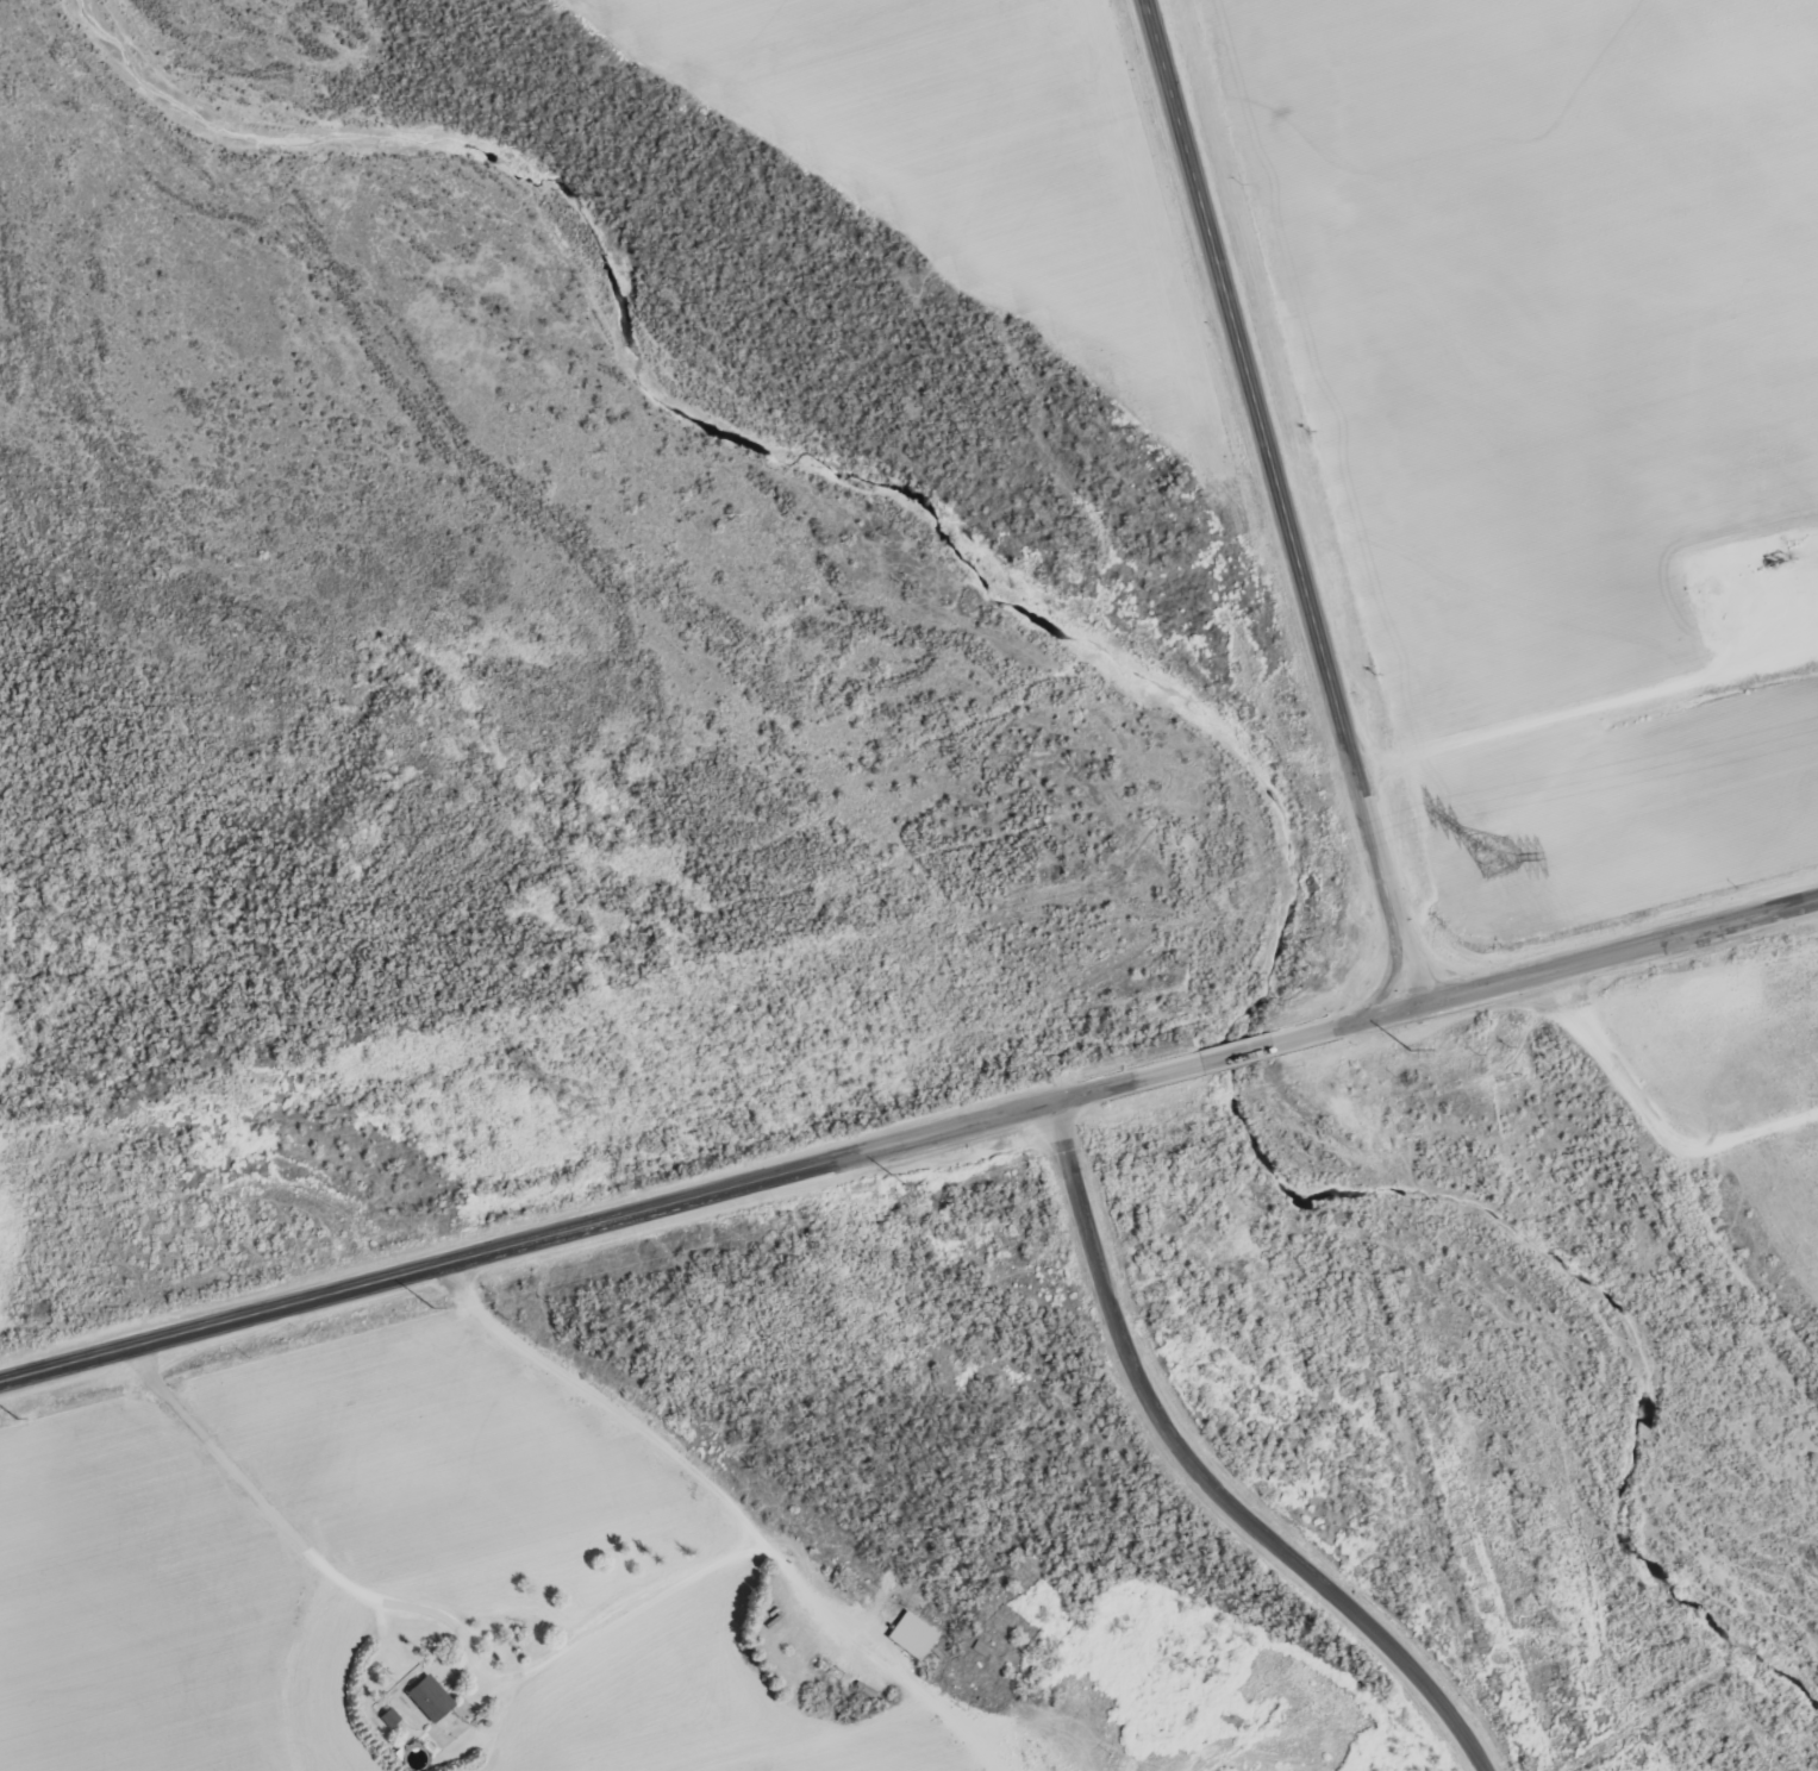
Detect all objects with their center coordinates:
road: (1285, 505)
river: (1194, 713)
power tower: (1495, 858)
road: (1548, 975)
power tower: (1397, 1052)
road: (1241, 1057)
power tower: (577, 1097)
power tower: (924, 1177)
road: (600, 1226)
power tower: (443, 1304)
power tower: (26, 1415)
road: (1204, 1483)
building: (918, 1637)
road: (585, 1641)
building: (985, 1651)
building: (430, 1698)
building: (1232, 1717)

